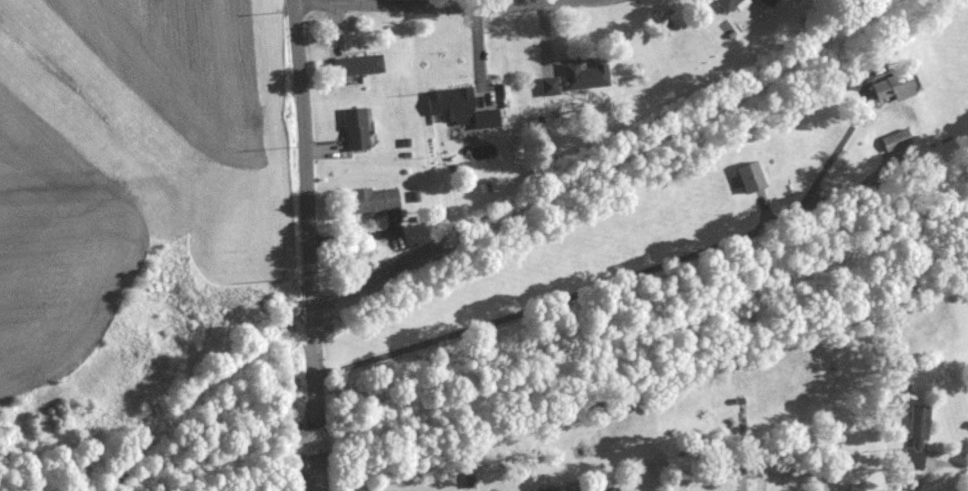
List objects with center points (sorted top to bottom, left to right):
road: (520, 3)
road: (438, 8)
building: (355, 66)
building: (583, 77)
building: (548, 87)
building: (891, 88)
building: (354, 129)
building: (897, 140)
building: (748, 177)
building: (372, 202)
road: (309, 245)
road: (619, 277)
building: (913, 440)
road: (948, 460)

